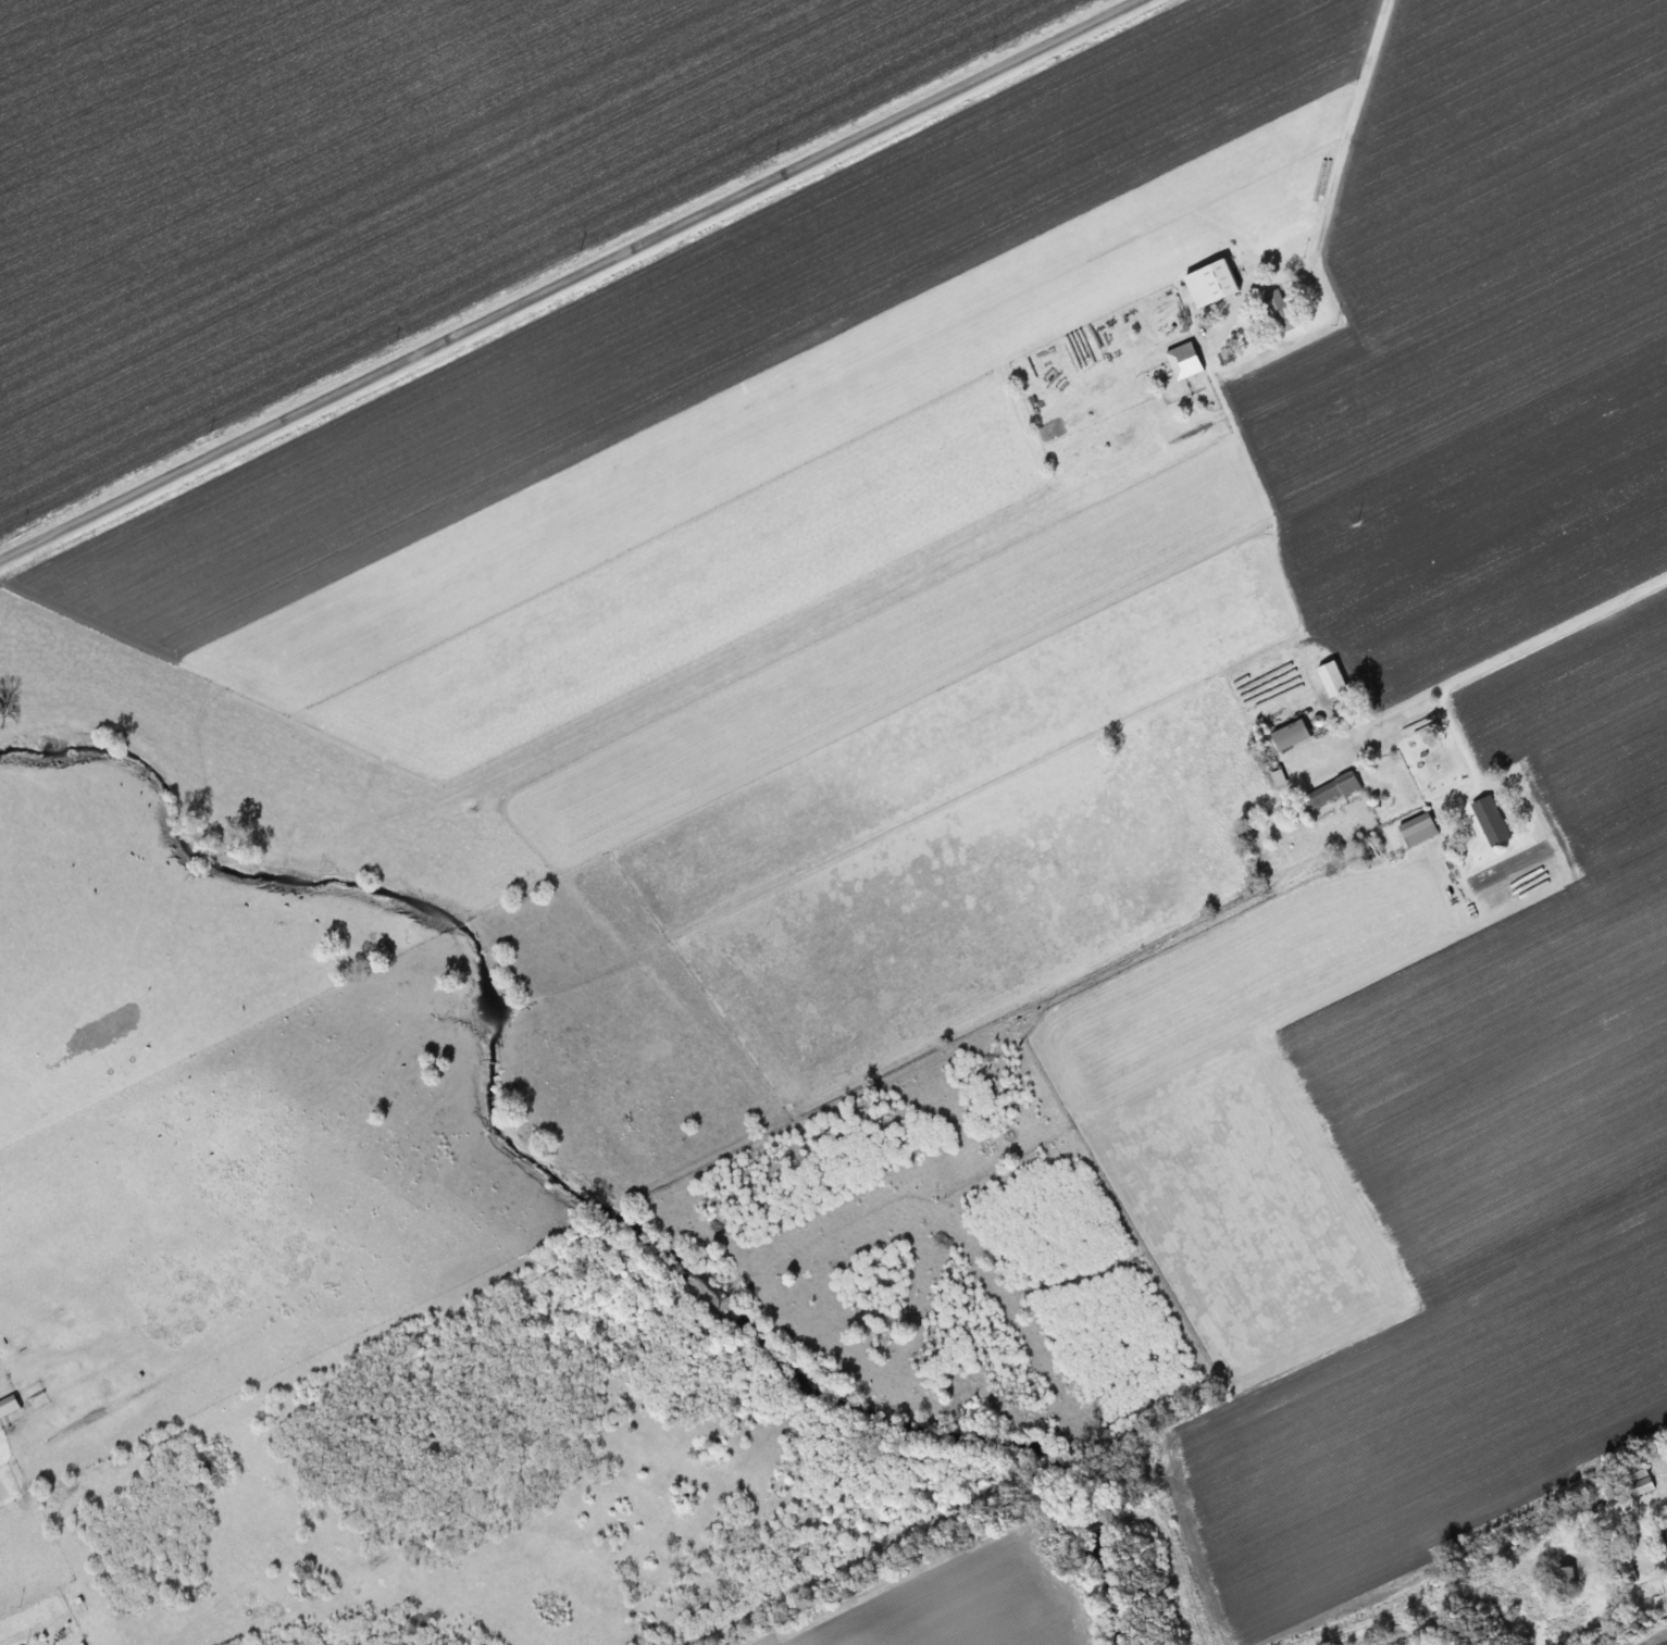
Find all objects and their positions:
road: (1329, 199)
road: (568, 276)
building: (1212, 284)
building: (1184, 361)
road: (1516, 649)
building: (1332, 677)
building: (1291, 734)
building: (1330, 792)
building: (1491, 821)
building: (1418, 830)
building: (8, 1406)
building: (1643, 1484)
road: (1657, 1559)
building: (1567, 1578)
building: (1630, 1579)

